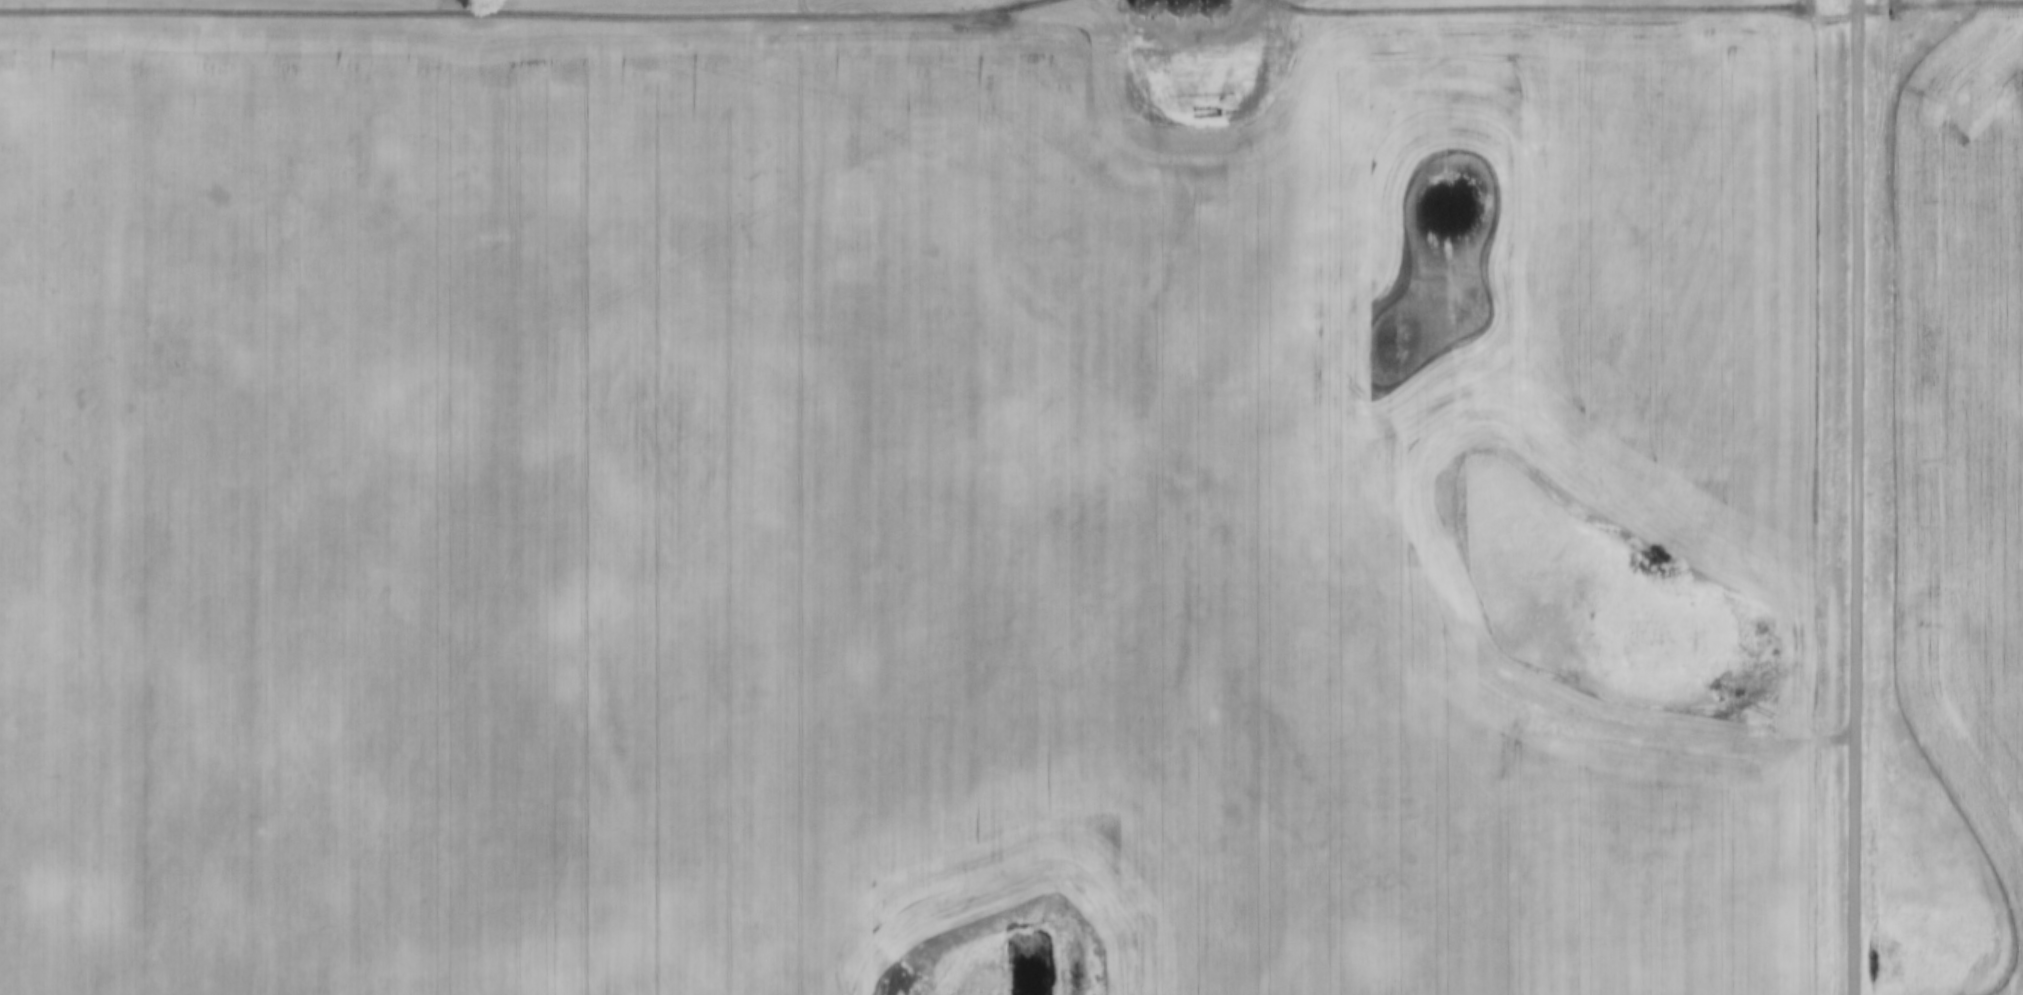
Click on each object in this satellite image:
road: (1856, 497)

